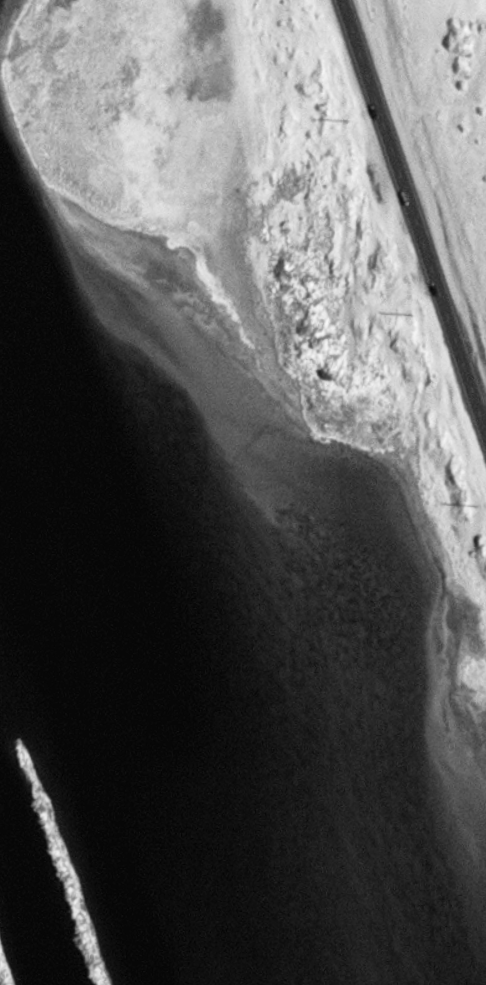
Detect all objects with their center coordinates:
power tower: (350, 118)
road: (413, 212)
power tower: (415, 315)
power tower: (477, 502)

